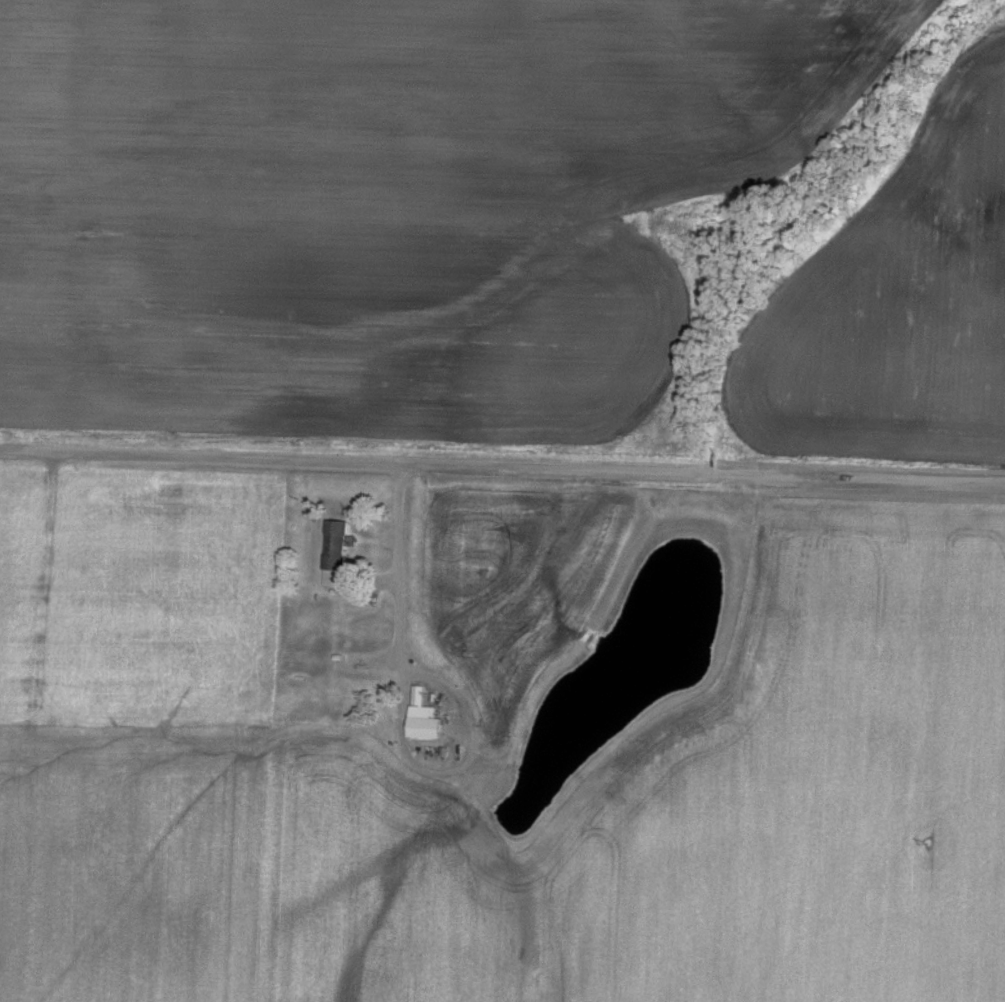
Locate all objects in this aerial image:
road: (502, 465)
road: (397, 535)
building: (335, 554)
building: (423, 719)

